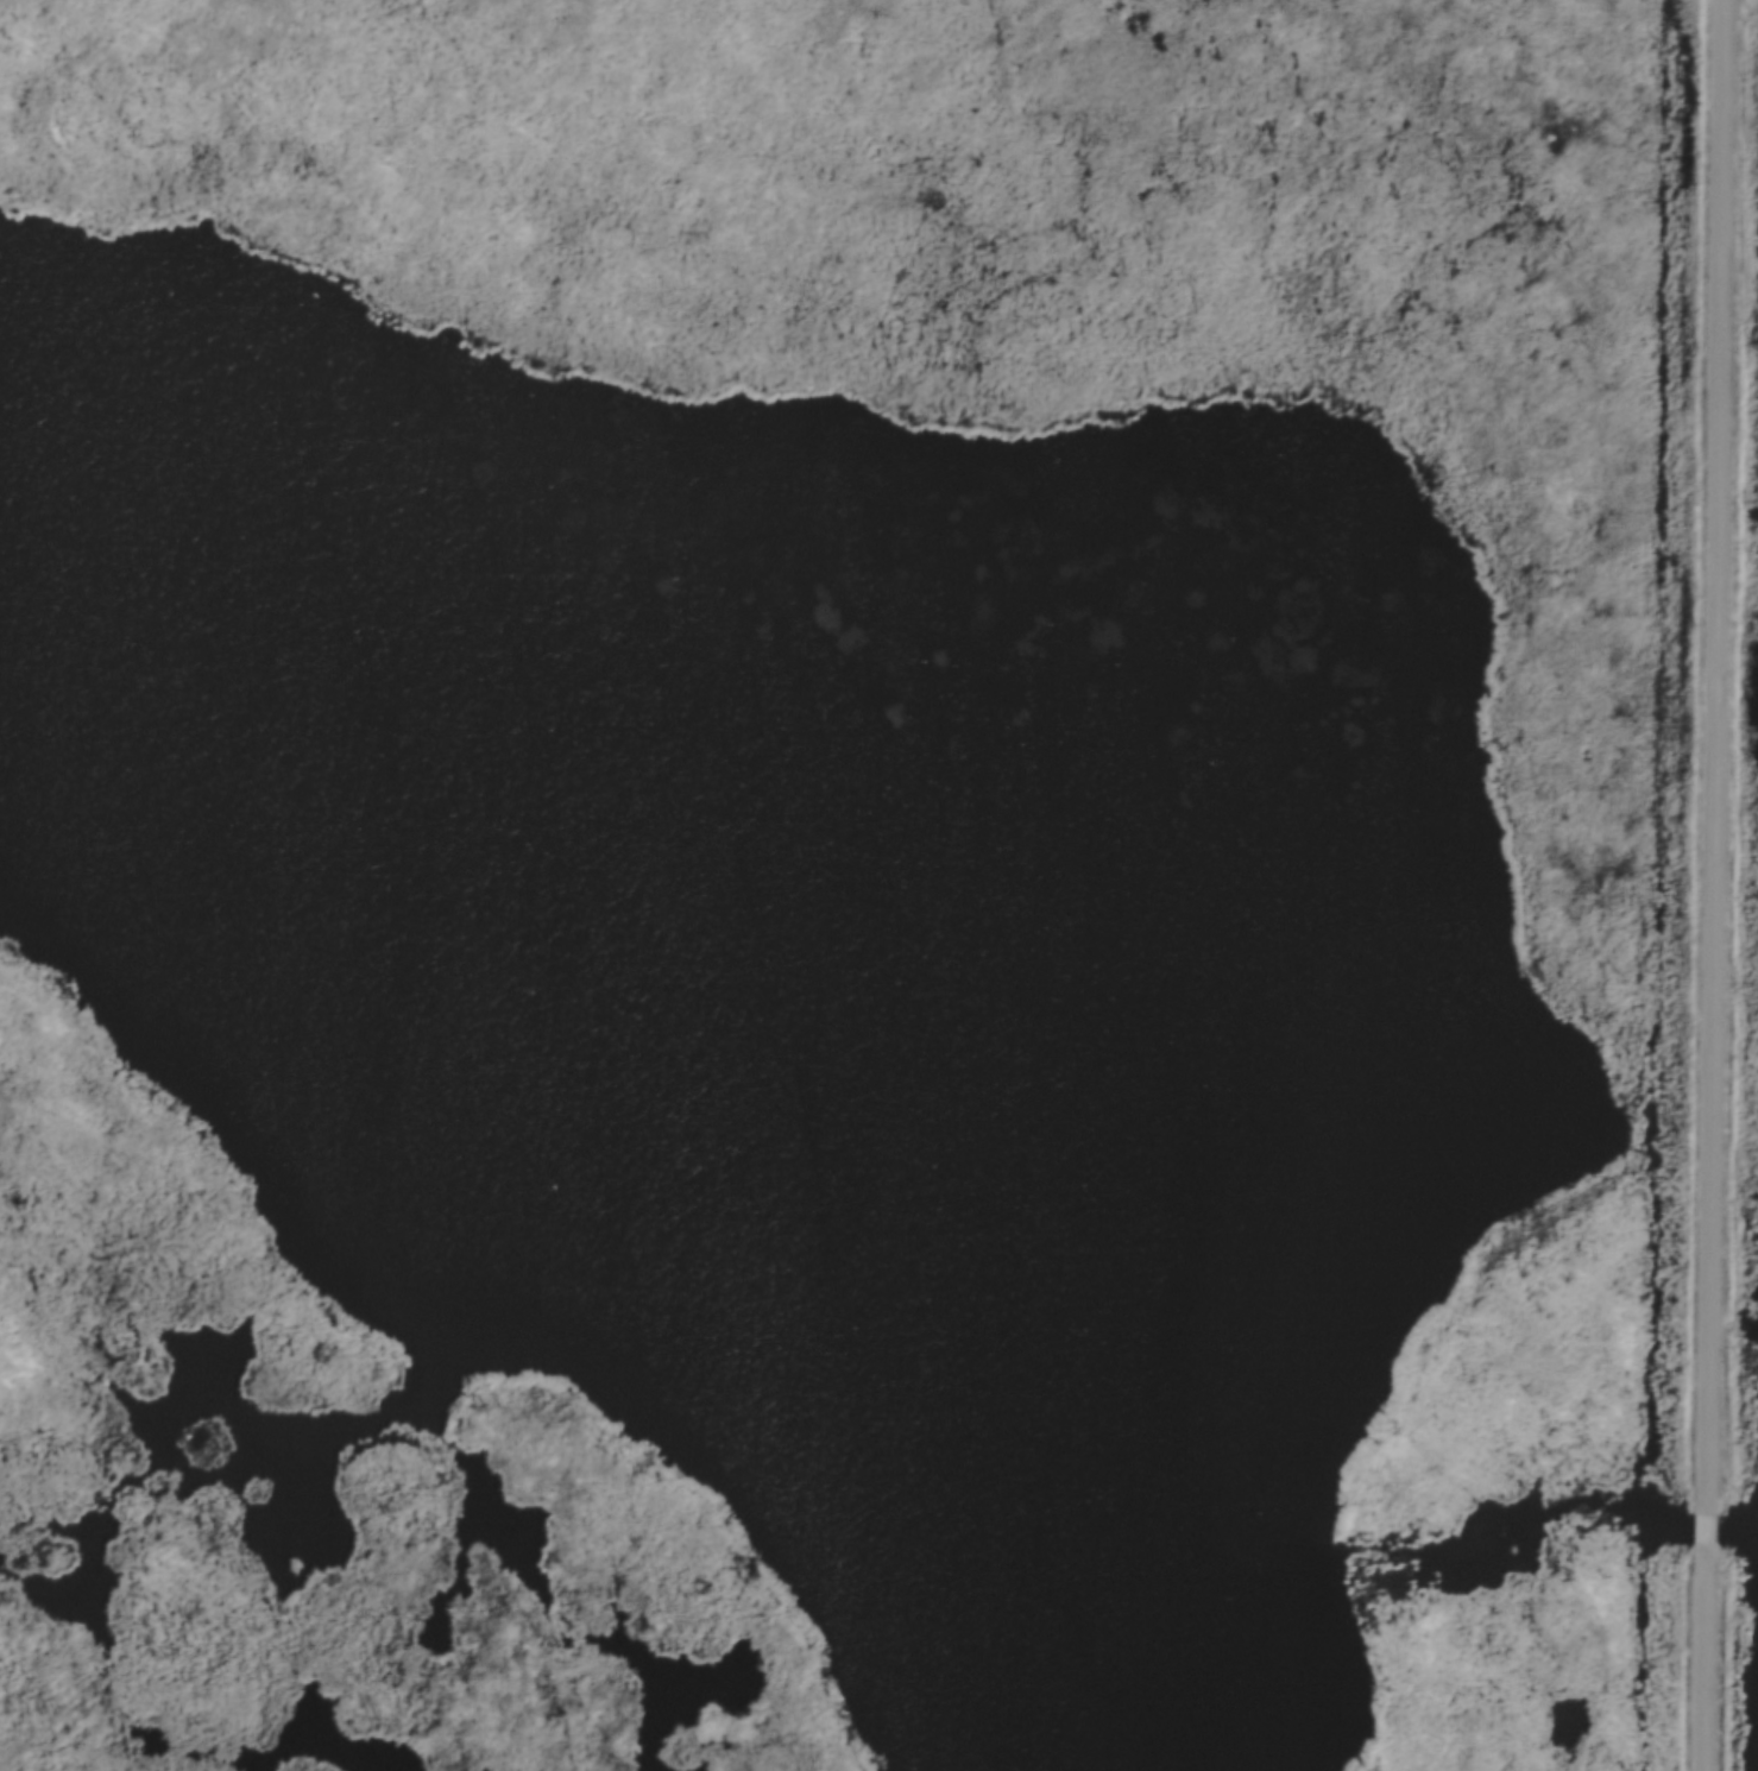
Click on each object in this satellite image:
road: (1715, 755)
river: (883, 1435)
road: (1706, 1525)
road: (1703, 1655)

